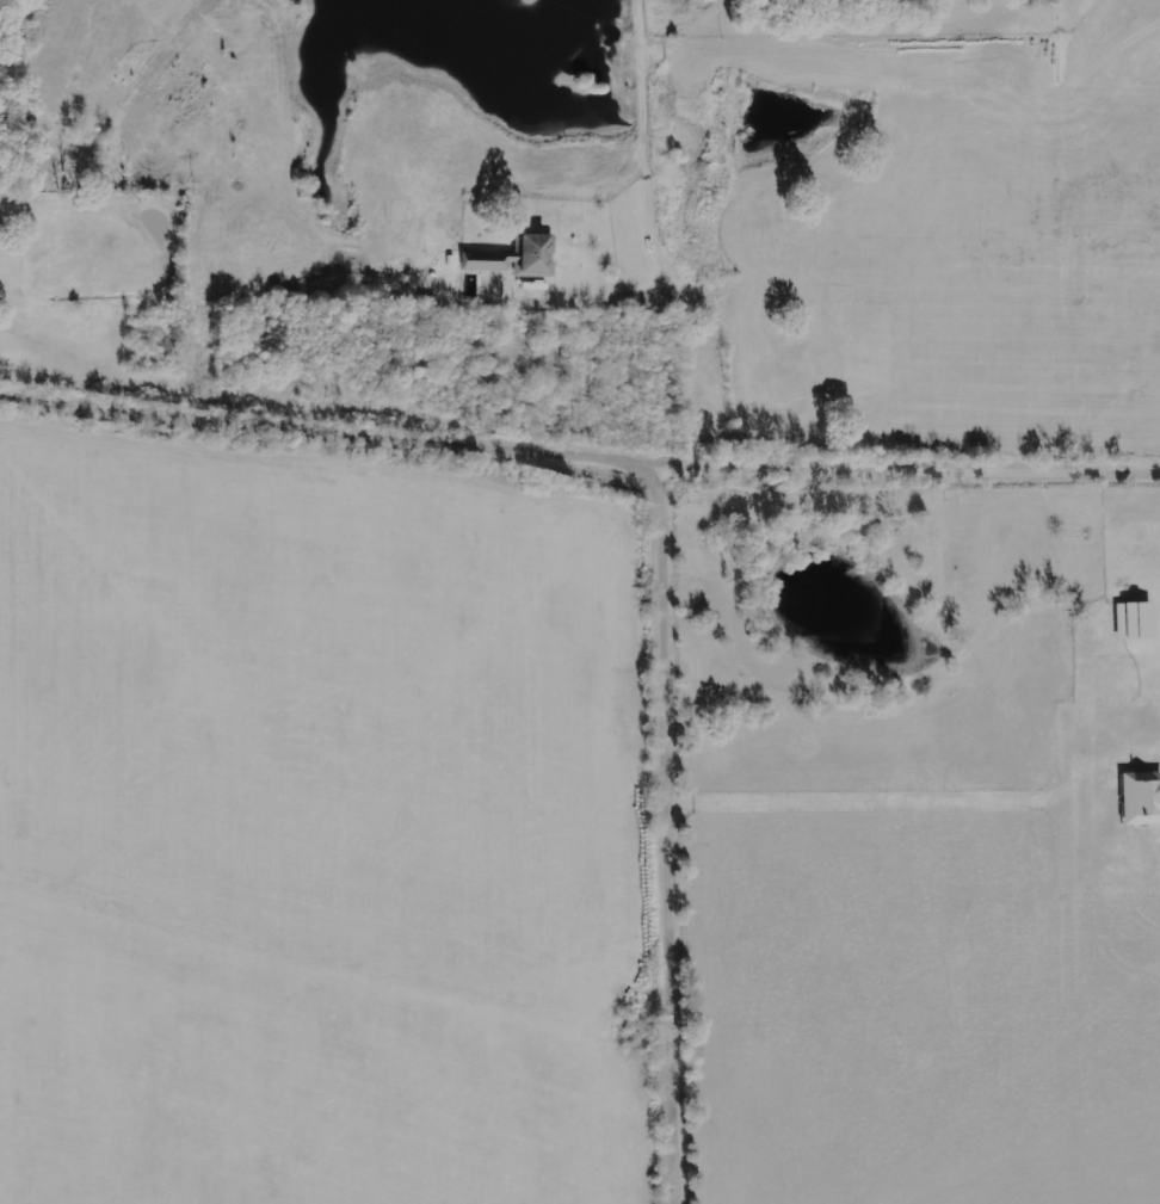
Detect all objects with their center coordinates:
road: (643, 89)
building: (523, 259)
road: (681, 321)
road: (579, 455)
building: (1141, 799)
road: (677, 833)

